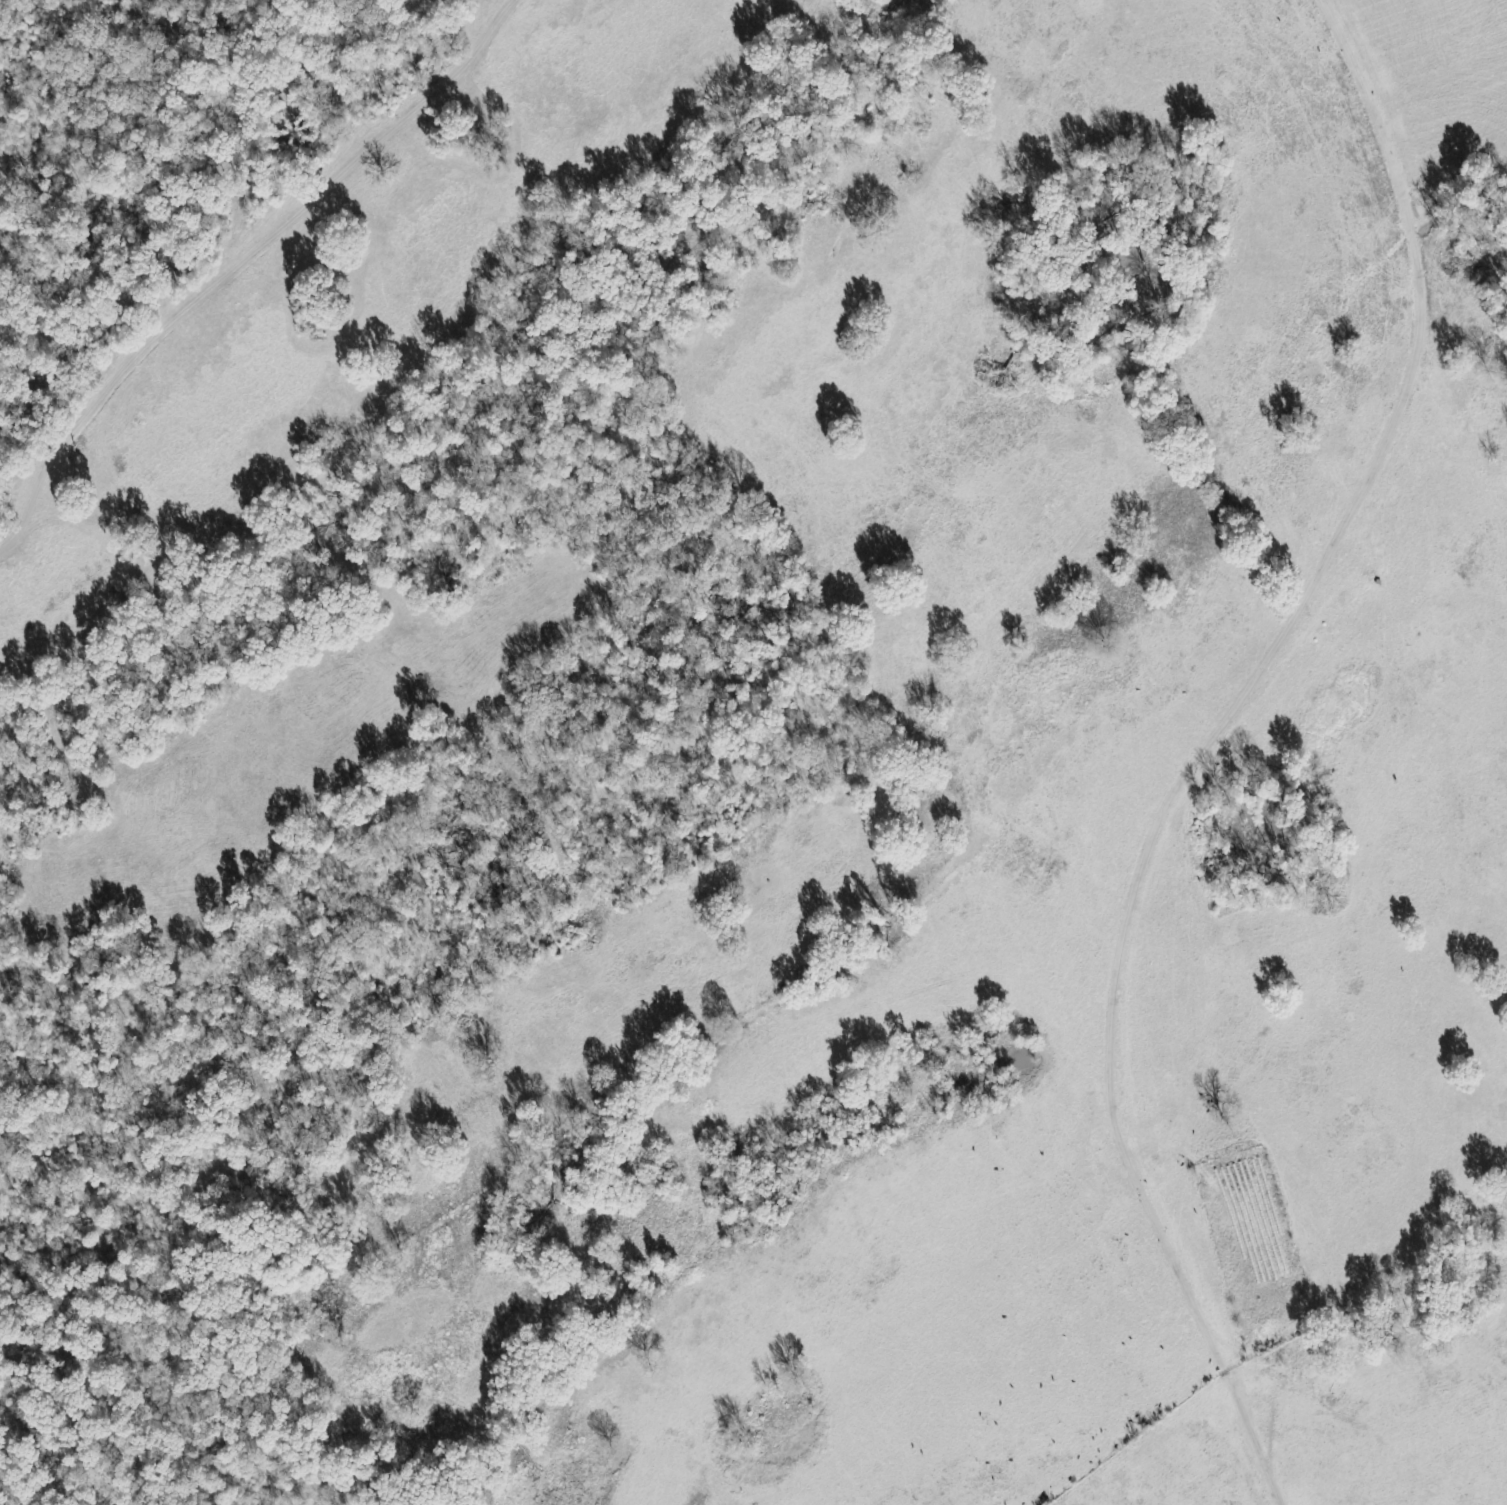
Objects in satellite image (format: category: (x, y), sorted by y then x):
road: (1224, 745)

